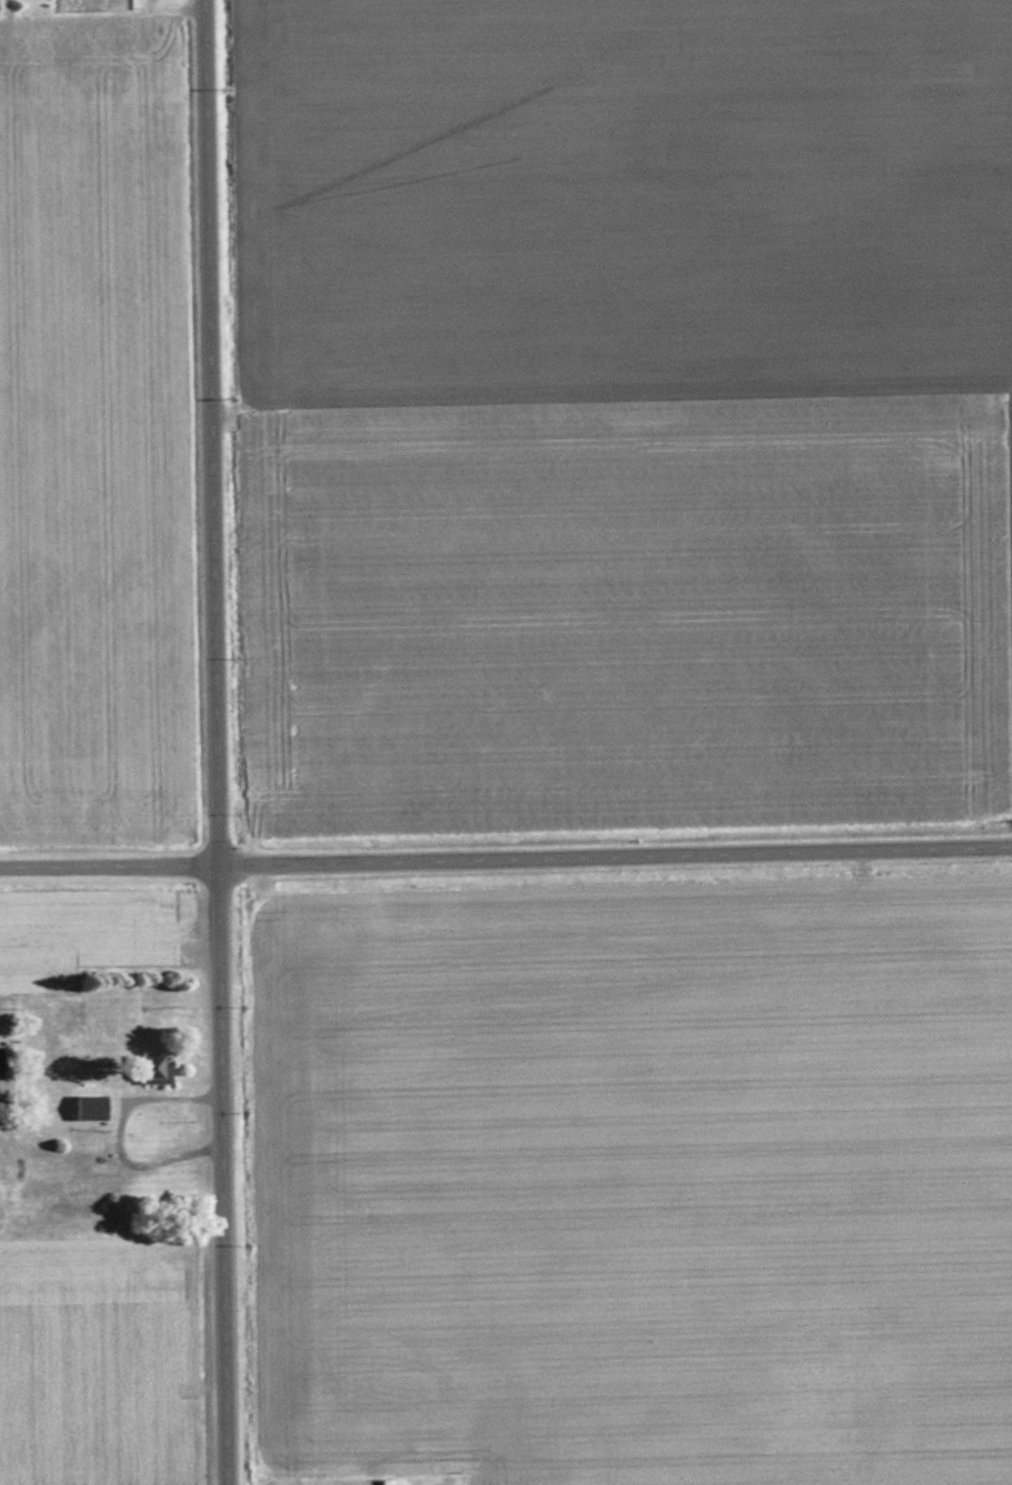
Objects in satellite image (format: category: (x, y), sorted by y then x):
road: (218, 742)
road: (506, 852)
building: (150, 1070)
building: (87, 1107)

